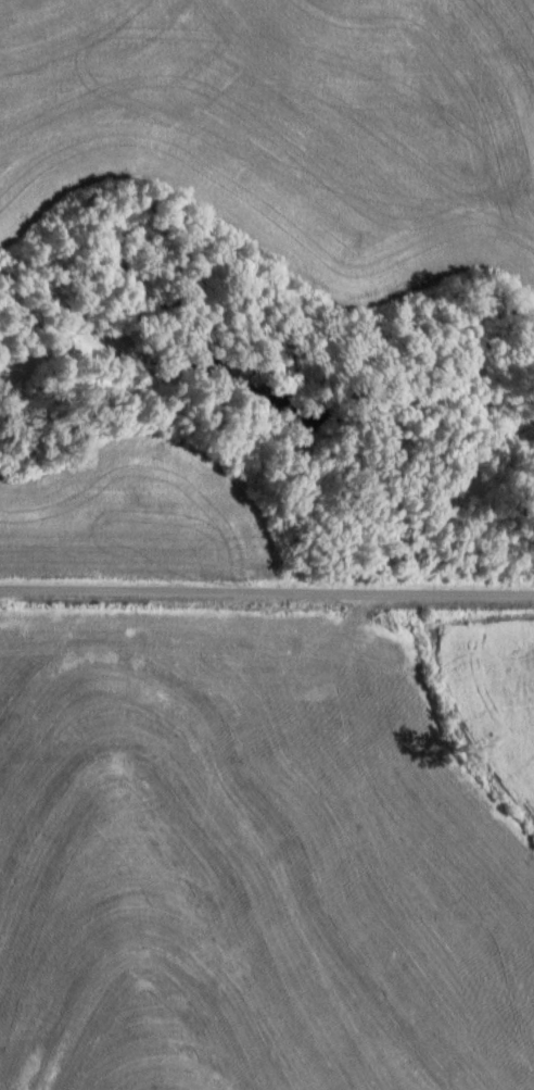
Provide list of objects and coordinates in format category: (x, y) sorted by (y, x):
road: (267, 588)

